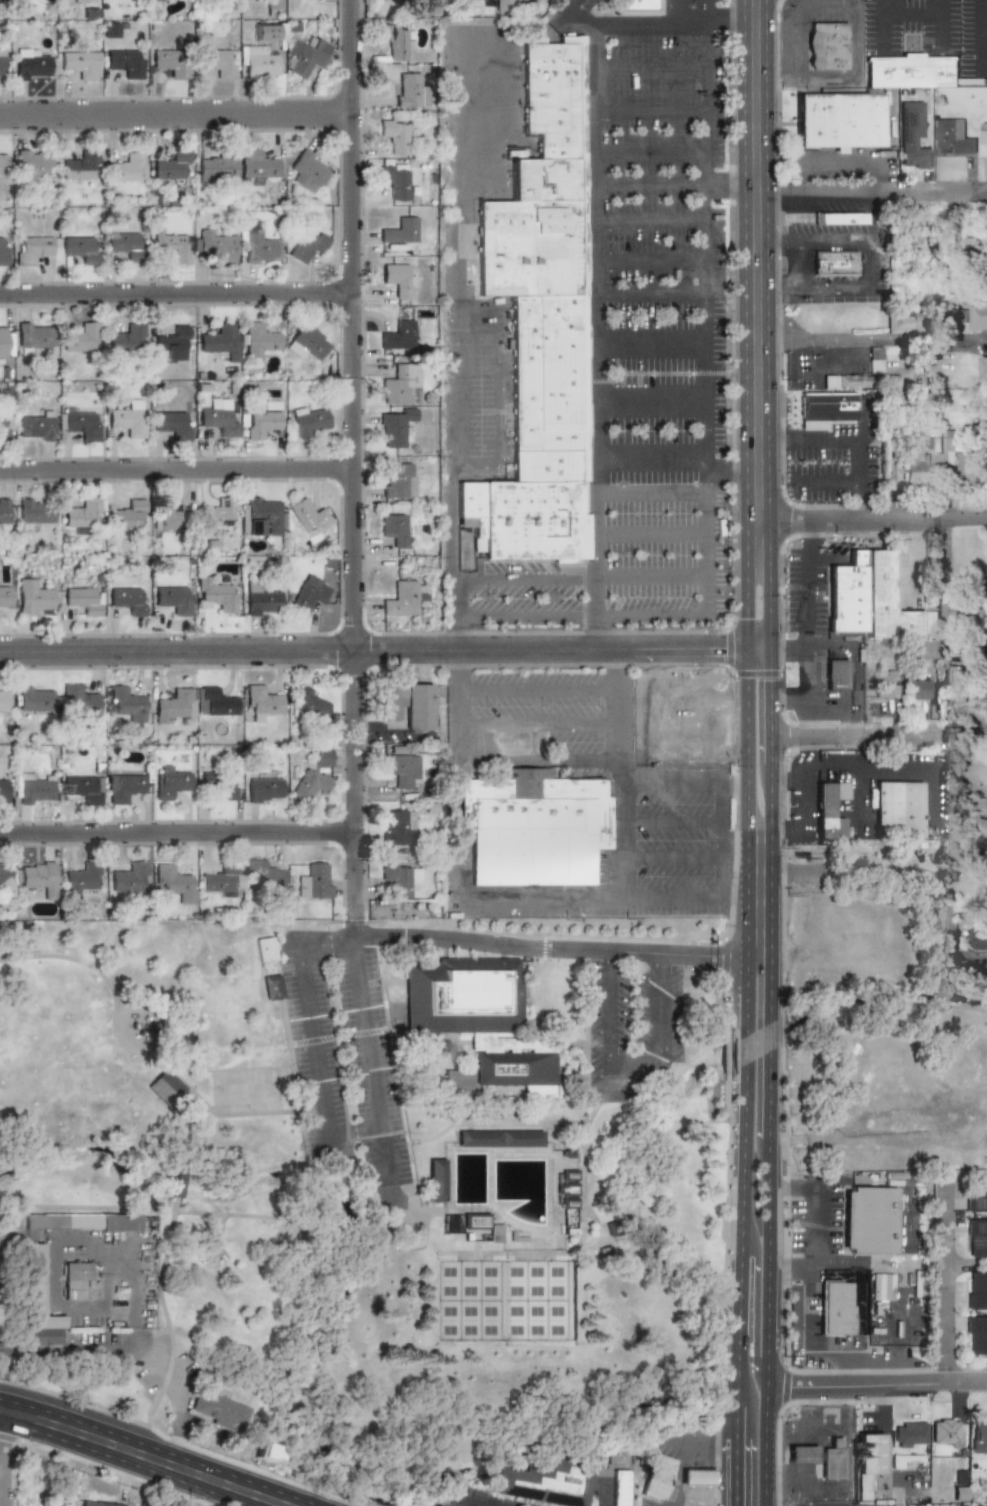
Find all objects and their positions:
building: (381, 0)
building: (83, 1)
road: (846, 2)
building: (502, 4)
road: (823, 5)
road: (887, 5)
building: (273, 6)
building: (635, 7)
road: (705, 10)
road: (912, 10)
road: (679, 11)
road: (728, 20)
road: (649, 22)
road: (937, 26)
building: (111, 29)
road: (881, 29)
building: (264, 32)
road: (978, 36)
building: (395, 40)
road: (788, 40)
road: (857, 41)
building: (827, 46)
building: (306, 54)
building: (125, 62)
building: (171, 62)
building: (218, 62)
building: (2, 63)
building: (81, 63)
building: (259, 63)
building: (31, 65)
road: (649, 69)
building: (911, 70)
road: (822, 76)
road: (451, 86)
building: (410, 87)
road: (650, 110)
road: (173, 113)
building: (838, 120)
building: (395, 135)
building: (953, 135)
building: (912, 136)
building: (984, 140)
road: (886, 145)
road: (649, 151)
road: (840, 158)
building: (2, 163)
building: (31, 164)
building: (80, 165)
building: (171, 166)
building: (255, 166)
building: (218, 167)
building: (127, 168)
building: (308, 170)
road: (794, 179)
building: (396, 182)
road: (672, 187)
road: (868, 197)
building: (838, 218)
road: (649, 221)
building: (400, 231)
building: (123, 244)
building: (216, 245)
road: (769, 245)
road: (829, 245)
building: (307, 246)
building: (78, 247)
building: (171, 247)
building: (259, 248)
building: (977, 248)
building: (31, 249)
building: (2, 250)
road: (649, 259)
road: (752, 259)
building: (835, 263)
road: (872, 266)
building: (398, 280)
road: (769, 288)
road: (829, 288)
road: (650, 291)
road: (174, 295)
building: (971, 316)
road: (473, 317)
road: (704, 317)
building: (539, 320)
building: (904, 322)
building: (33, 334)
road: (595, 335)
building: (398, 336)
road: (649, 336)
building: (79, 338)
building: (126, 339)
building: (257, 339)
road: (870, 339)
building: (219, 340)
building: (4, 342)
building: (307, 342)
building: (171, 344)
building: (875, 360)
building: (984, 368)
building: (852, 381)
building: (396, 386)
road: (649, 390)
road: (452, 394)
road: (496, 394)
building: (826, 406)
building: (218, 418)
building: (128, 419)
building: (309, 421)
building: (260, 423)
building: (78, 424)
building: (172, 424)
building: (2, 426)
building: (33, 427)
building: (395, 427)
road: (771, 441)
road: (823, 441)
road: (649, 453)
building: (917, 461)
road: (861, 462)
building: (965, 463)
road: (349, 467)
road: (175, 470)
road: (475, 472)
building: (398, 480)
road: (826, 483)
road: (649, 494)
building: (3, 511)
building: (32, 512)
building: (82, 512)
building: (219, 512)
building: (308, 516)
building: (124, 517)
building: (165, 517)
building: (261, 517)
road: (872, 519)
building: (396, 529)
road: (809, 534)
road: (649, 539)
road: (452, 542)
road: (577, 578)
road: (745, 582)
road: (768, 583)
building: (215, 595)
building: (846, 595)
building: (308, 596)
building: (33, 597)
building: (5, 598)
building: (406, 598)
building: (127, 599)
building: (173, 599)
building: (83, 600)
building: (261, 600)
building: (885, 600)
road: (577, 613)
building: (962, 613)
road: (809, 623)
building: (932, 624)
building: (986, 647)
road: (371, 648)
building: (921, 649)
road: (755, 650)
road: (788, 651)
road: (832, 651)
road: (650, 667)
road: (700, 668)
road: (745, 670)
building: (835, 673)
road: (768, 675)
road: (854, 675)
building: (883, 684)
building: (953, 684)
road: (537, 685)
road: (681, 686)
building: (918, 689)
building: (35, 698)
building: (78, 700)
road: (781, 700)
road: (824, 700)
building: (312, 701)
building: (3, 702)
building: (215, 702)
building: (260, 702)
building: (127, 703)
road: (457, 703)
building: (407, 704)
building: (176, 705)
road: (537, 719)
road: (878, 732)
building: (321, 757)
road: (537, 760)
road: (863, 765)
building: (400, 770)
road: (617, 773)
road: (669, 782)
road: (785, 782)
building: (170, 783)
road: (734, 783)
building: (221, 785)
building: (308, 785)
building: (84, 787)
building: (124, 787)
building: (3, 789)
building: (31, 789)
building: (263, 790)
road: (858, 793)
road: (800, 794)
road: (931, 795)
building: (981, 806)
building: (829, 809)
building: (897, 809)
road: (669, 824)
building: (398, 827)
building: (533, 827)
road: (777, 827)
road: (792, 827)
road: (176, 830)
road: (722, 840)
road: (669, 858)
road: (904, 870)
building: (3, 871)
building: (262, 873)
building: (36, 876)
building: (83, 876)
building: (129, 877)
building: (400, 877)
building: (220, 880)
building: (314, 880)
building: (173, 882)
road: (958, 884)
road: (669, 898)
road: (734, 898)
road: (465, 900)
road: (351, 943)
road: (298, 945)
road: (522, 946)
building: (265, 949)
road: (606, 956)
road: (758, 956)
road: (659, 958)
building: (272, 987)
building: (461, 995)
road: (607, 1014)
road: (660, 1017)
road: (316, 1056)
road: (155, 1058)
road: (370, 1067)
building: (512, 1067)
road: (632, 1068)
building: (456, 1081)
building: (165, 1087)
road: (745, 1098)
road: (768, 1102)
road: (206, 1125)
building: (498, 1138)
park: (368, 1180)
building: (434, 1180)
building: (175, 1185)
road: (799, 1186)
road: (177, 1188)
building: (976, 1193)
road: (210, 1213)
building: (869, 1220)
building: (80, 1222)
building: (484, 1227)
road: (224, 1230)
road: (830, 1234)
building: (976, 1238)
road: (787, 1270)
building: (75, 1280)
building: (881, 1286)
building: (976, 1290)
road: (937, 1291)
park: (505, 1300)
building: (36, 1302)
building: (837, 1308)
road: (807, 1314)
road: (168, 1321)
building: (976, 1335)
road: (116, 1351)
road: (853, 1358)
road: (876, 1389)
building: (219, 1411)
building: (944, 1432)
building: (909, 1434)
building: (978, 1436)
road: (161, 1450)
road: (678, 1450)
building: (800, 1454)
building: (905, 1459)
building: (832, 1461)
road: (125, 1462)
building: (867, 1462)
road: (2, 1463)
building: (696, 1476)
building: (657, 1477)
building: (542, 1480)
road: (598, 1483)
road: (150, 1488)
building: (621, 1488)
road: (222, 1501)
building: (97, 1503)
building: (51, 1504)
road: (462, 1504)

